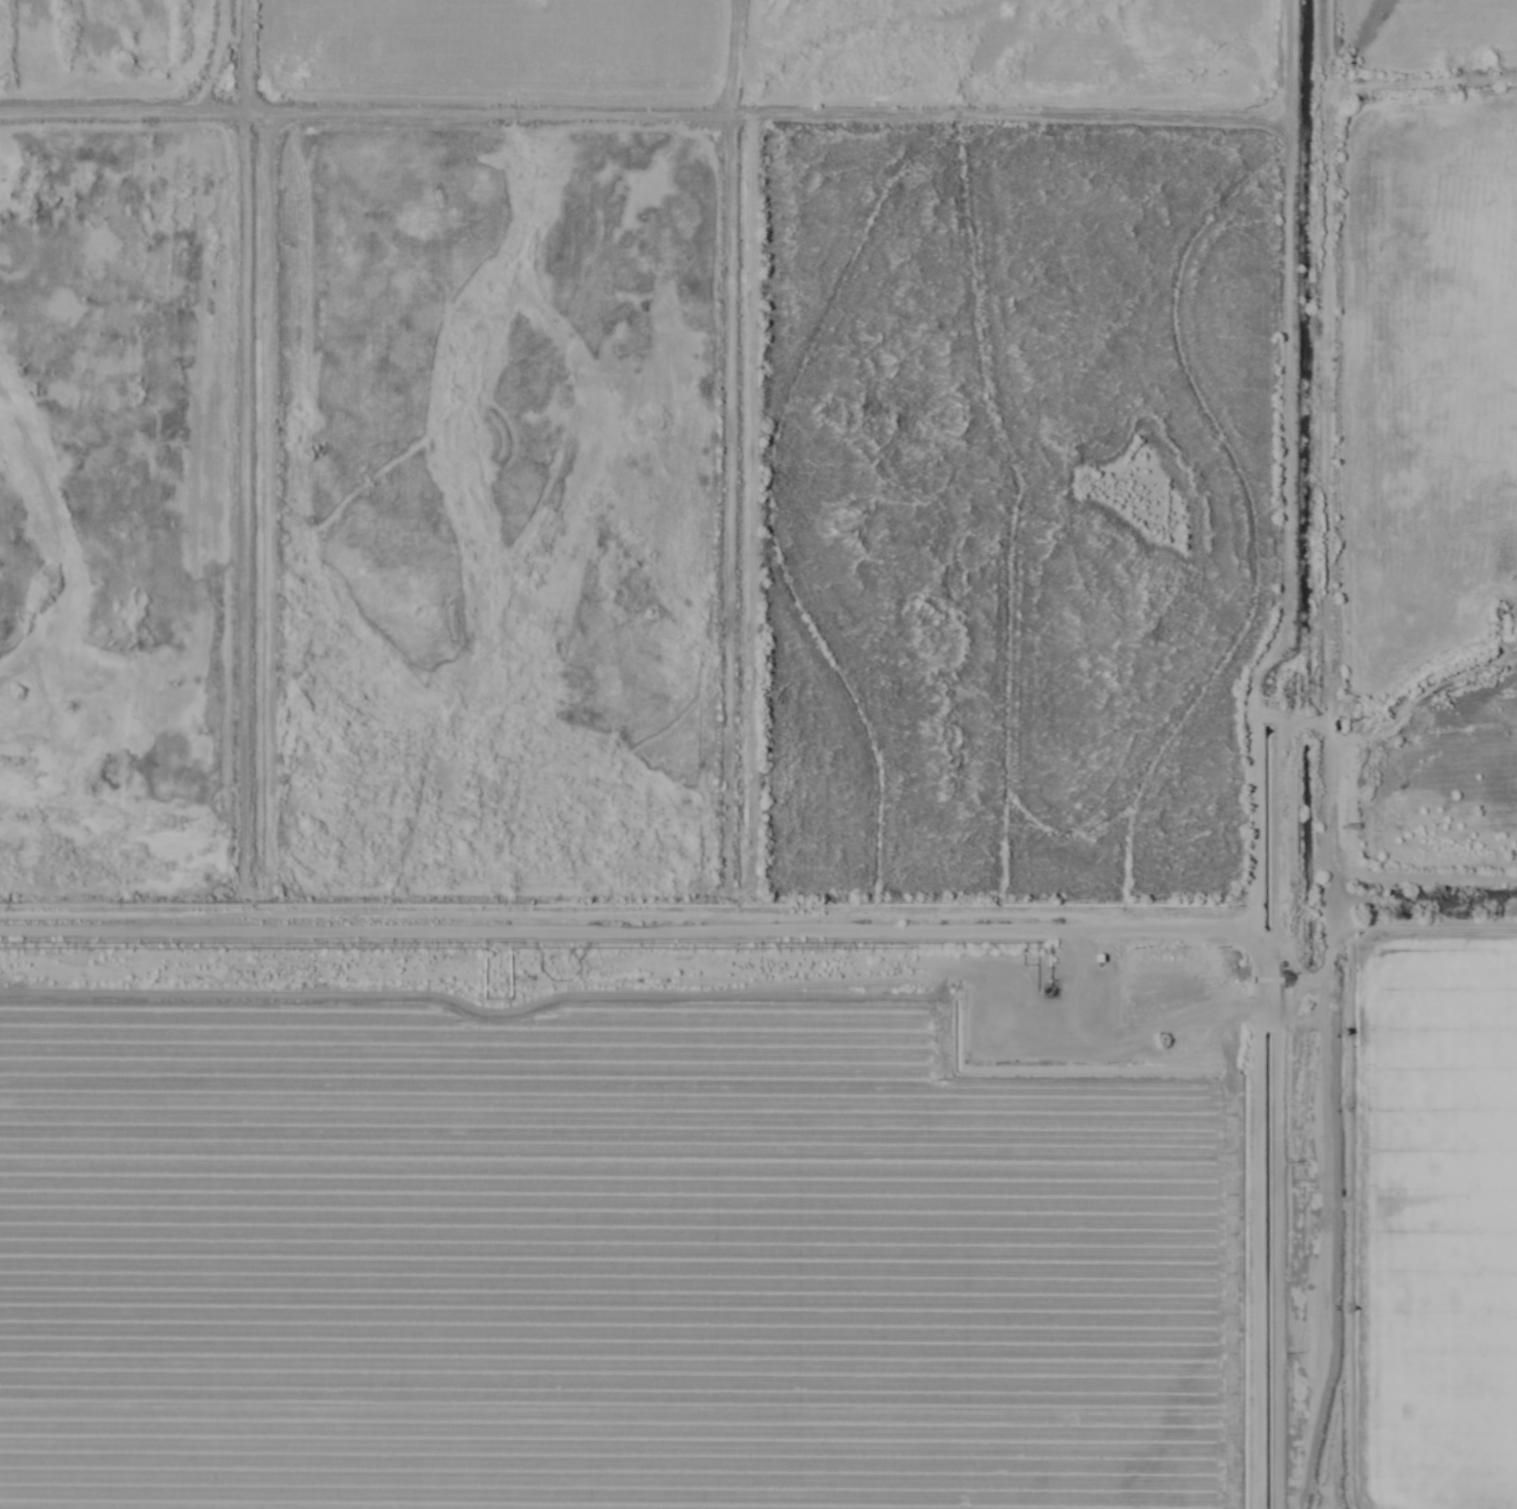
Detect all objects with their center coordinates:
road: (1314, 547)
parking lot: (1334, 830)
parking lot: (1359, 902)
road: (1250, 1093)

